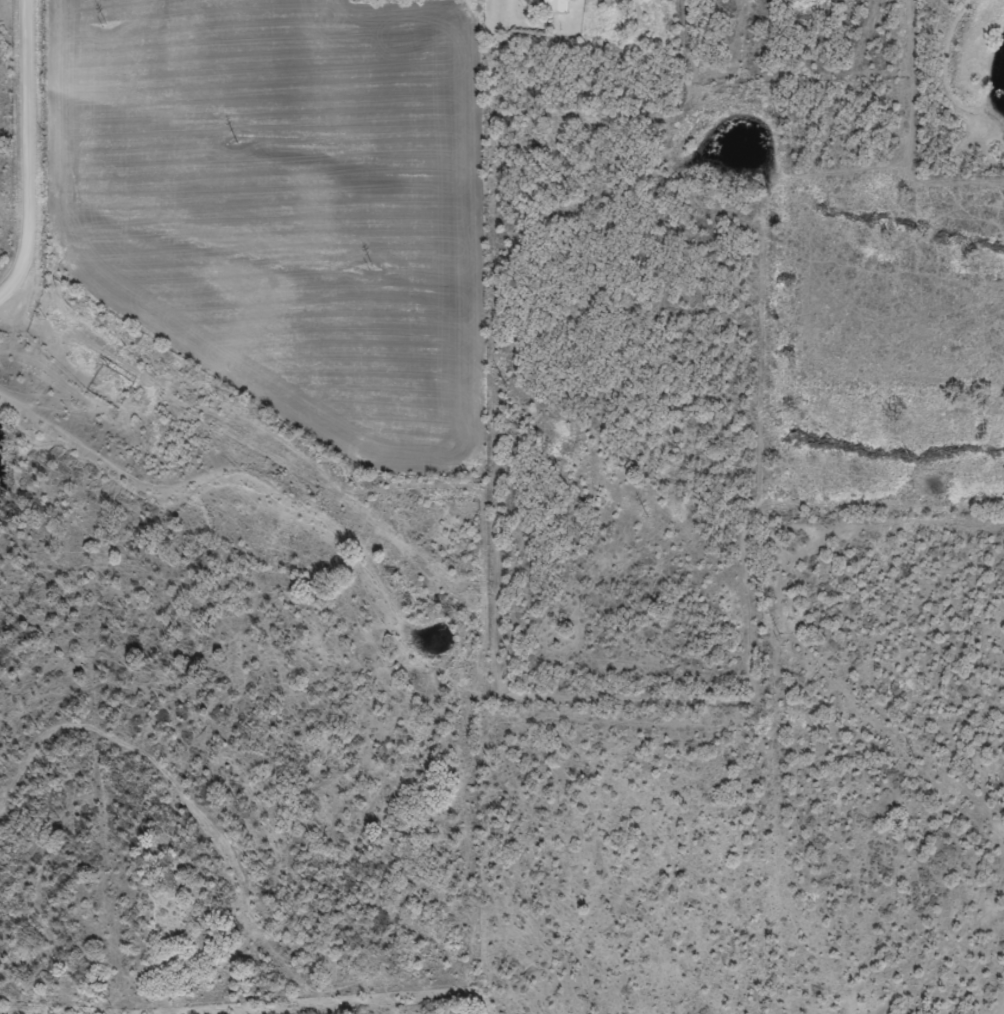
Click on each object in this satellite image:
building: (552, 10)
road: (27, 152)

